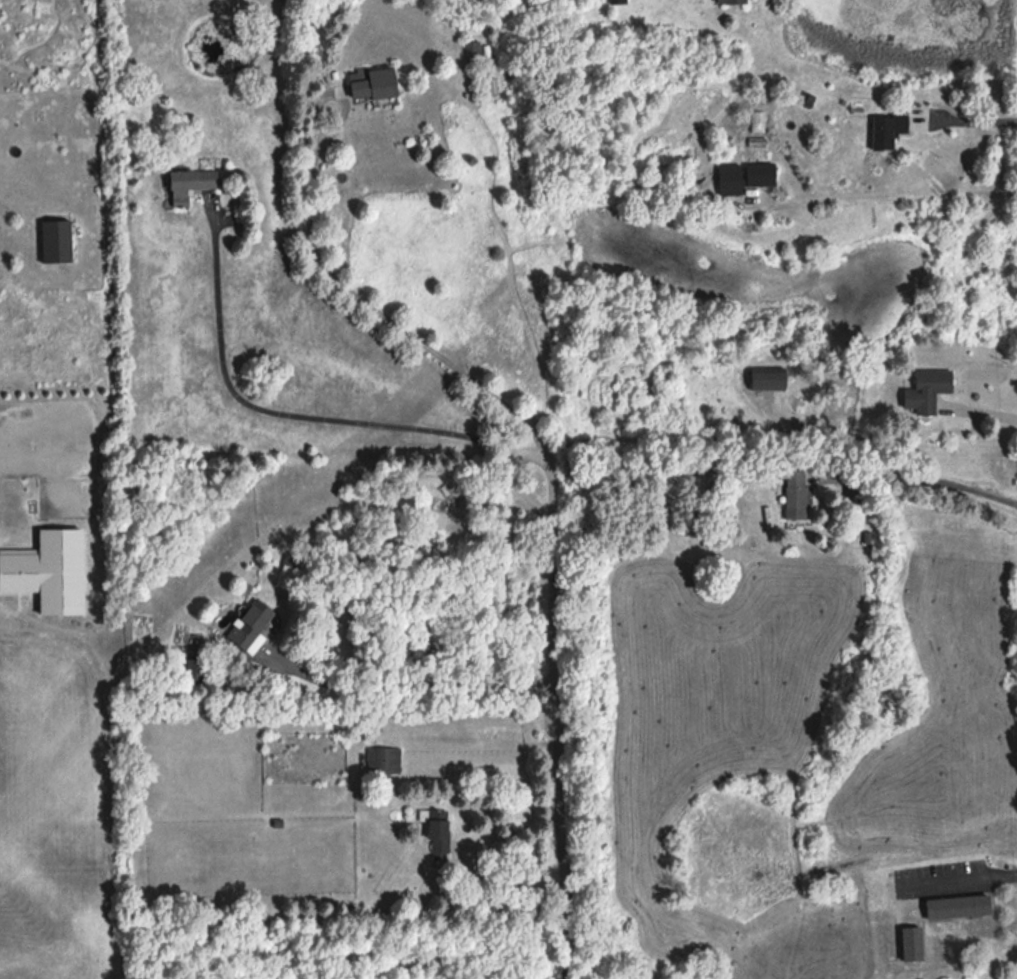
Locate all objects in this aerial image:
building: (618, 1)
building: (733, 1)
building: (474, 52)
building: (374, 83)
road: (974, 117)
building: (888, 129)
building: (761, 173)
building: (731, 178)
building: (191, 184)
road: (880, 196)
building: (57, 241)
road: (373, 307)
building: (770, 380)
building: (928, 389)
road: (983, 406)
road: (301, 415)
road: (920, 483)
building: (796, 494)
building: (20, 569)
building: (250, 623)
building: (195, 670)
road: (414, 685)
road: (556, 728)
building: (384, 760)
building: (439, 834)
road: (961, 877)
road: (511, 878)
building: (959, 906)
building: (913, 942)

